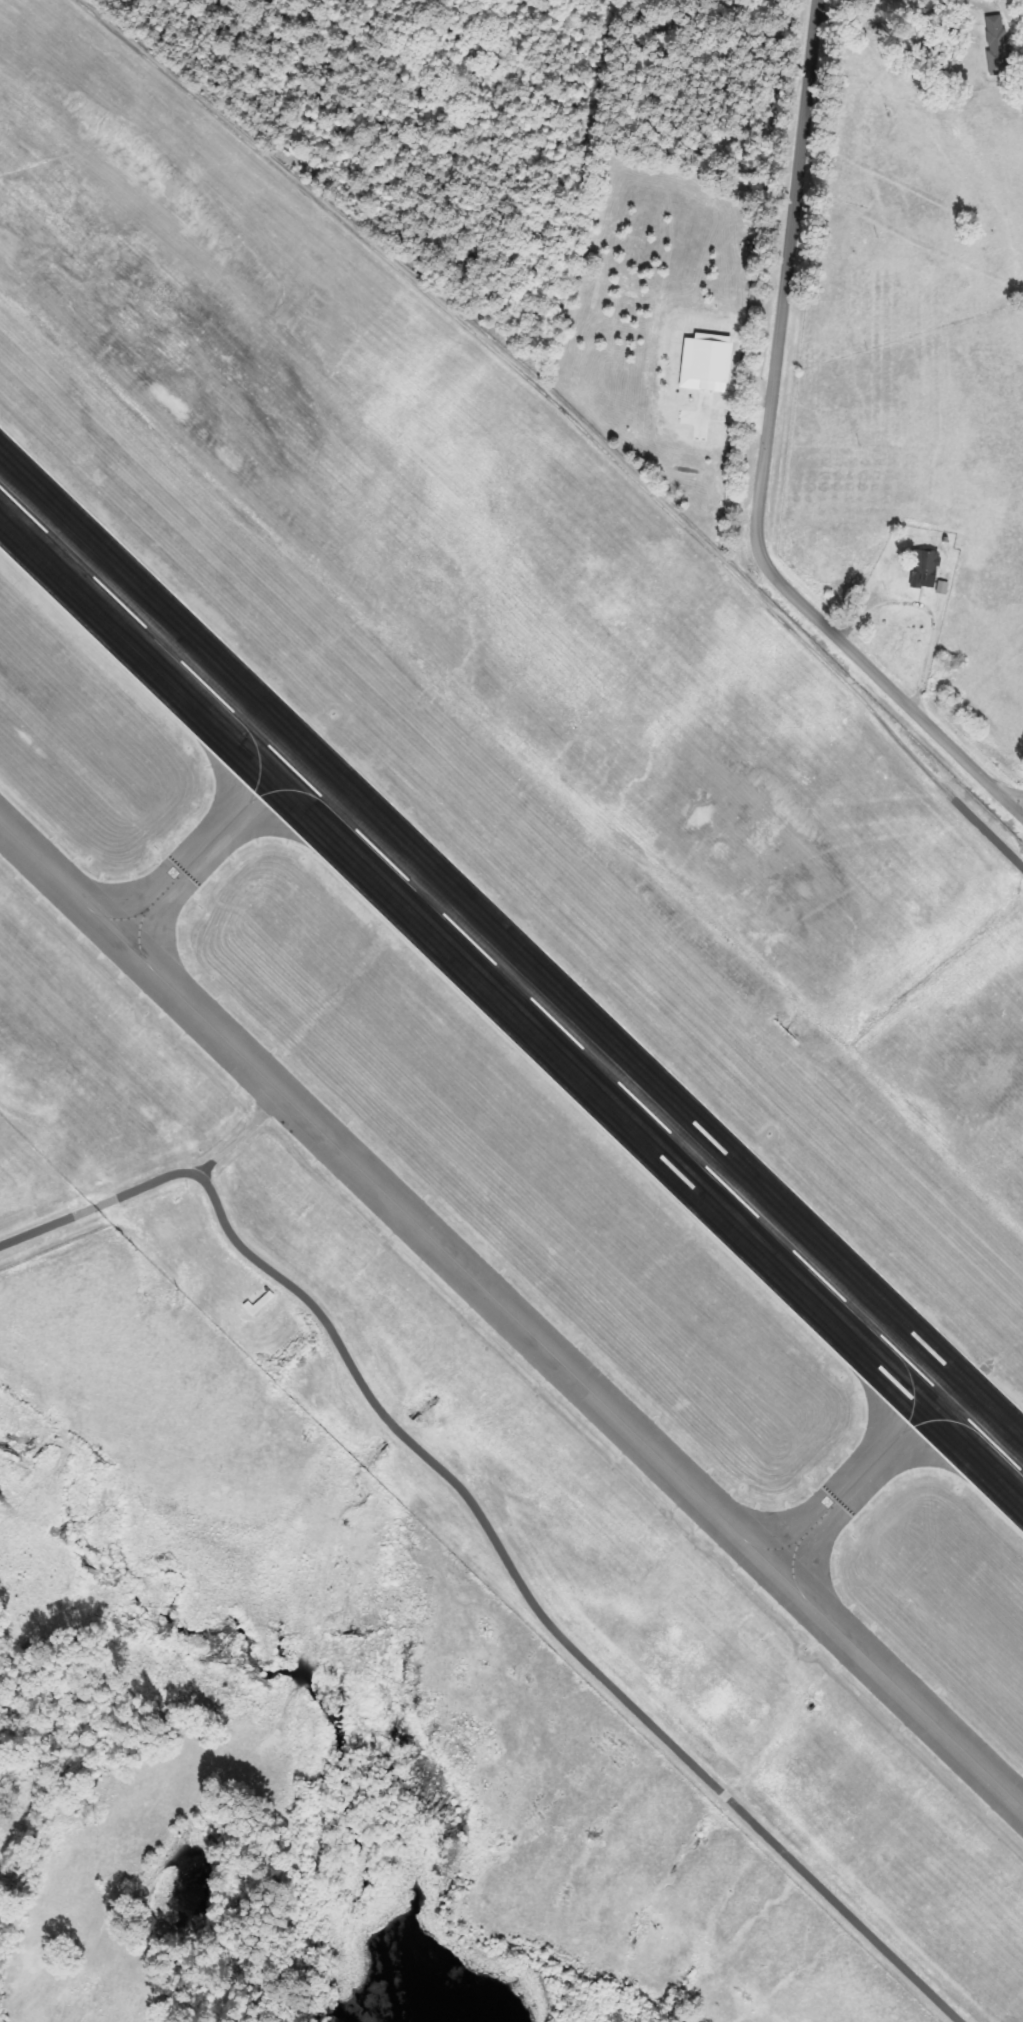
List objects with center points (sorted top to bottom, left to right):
building: (996, 43)
building: (706, 363)
road: (559, 414)
road: (763, 462)
building: (925, 568)
road: (1013, 796)
airport taxiway: (203, 851)
airport runway: (512, 980)
airport: (513, 994)
airport taxiway: (511, 1316)
airport taxiway: (857, 1481)
road: (481, 1528)

